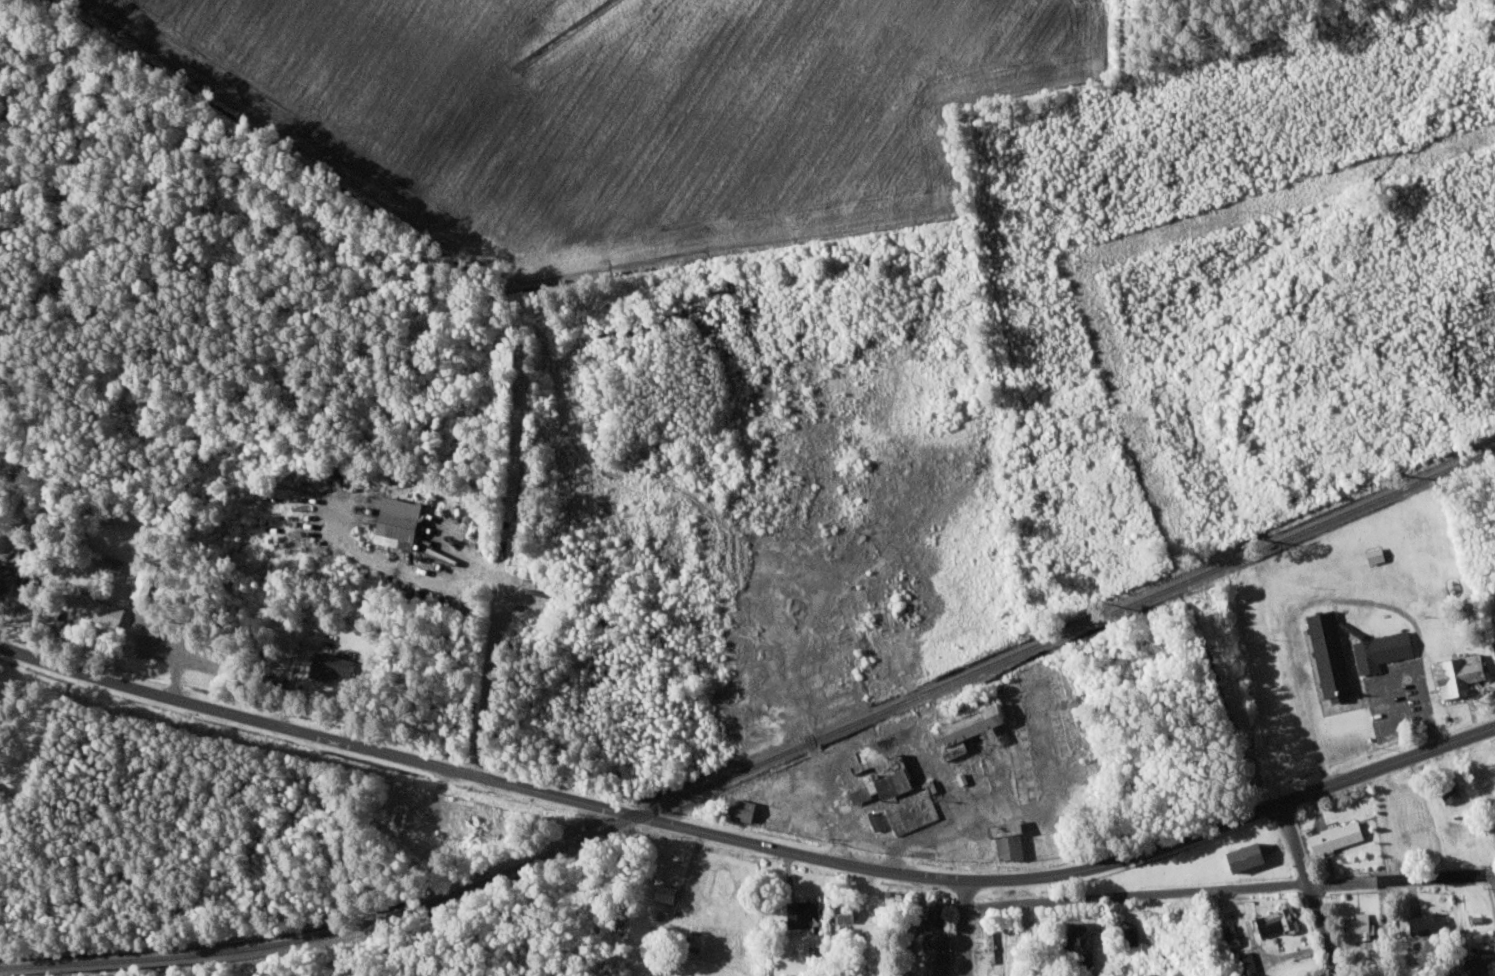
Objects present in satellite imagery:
road: (1123, 32)
road: (574, 428)
road: (514, 467)
building: (404, 521)
building: (1373, 554)
building: (115, 564)
building: (9, 578)
building: (148, 579)
building: (106, 611)
building: (1379, 649)
building: (1327, 654)
building: (334, 664)
building: (1455, 673)
railway: (985, 677)
road: (233, 713)
building: (962, 730)
railway: (762, 763)
building: (1448, 791)
building: (898, 795)
building: (875, 820)
road: (1290, 831)
building: (1333, 836)
building: (1004, 839)
building: (1239, 856)
road: (988, 879)
road: (1230, 888)
building: (662, 891)
building: (801, 914)
building: (1277, 919)
building: (1426, 923)
building: (1357, 924)
road: (967, 927)
building: (1128, 933)
building: (1230, 935)
building: (1078, 941)
building: (932, 942)
building: (1244, 962)
building: (1475, 966)

